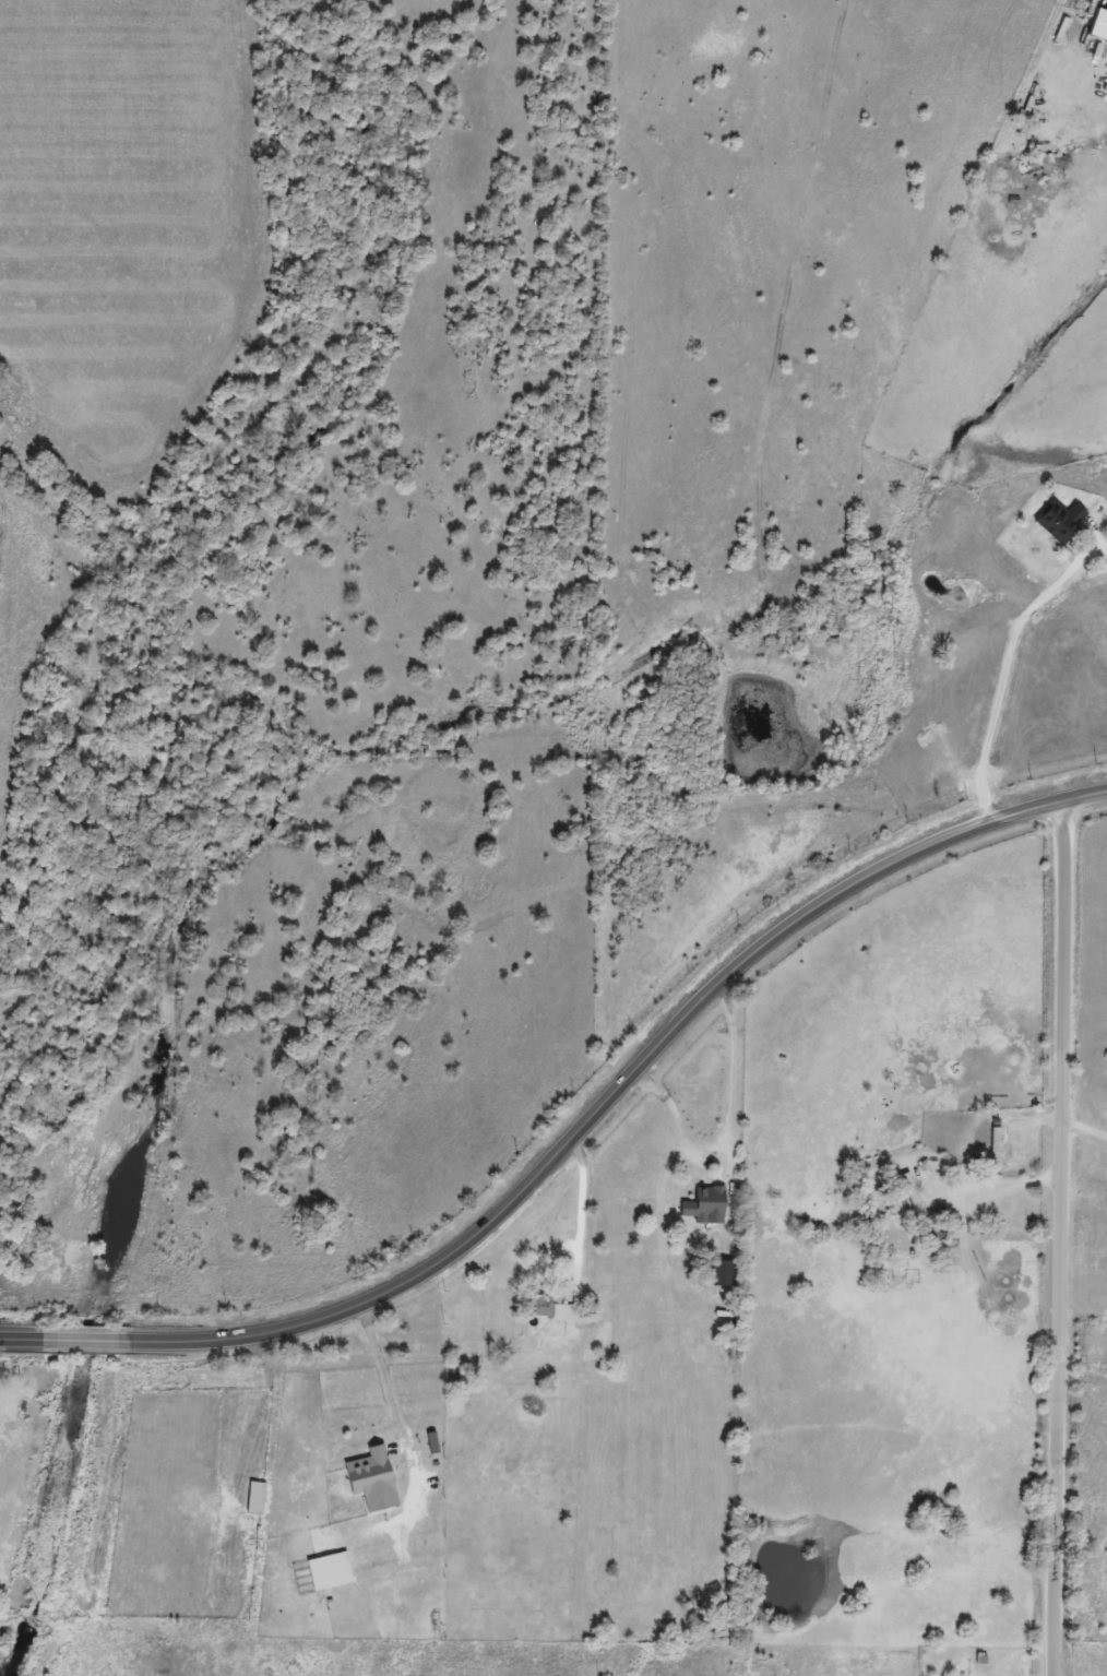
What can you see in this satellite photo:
road: (1023, 75)
building: (1046, 167)
building: (1061, 519)
road: (1003, 681)
road: (1087, 1125)
road: (723, 1130)
road: (578, 1132)
building: (996, 1144)
building: (914, 1193)
building: (709, 1204)
road: (580, 1213)
road: (1067, 1237)
building: (724, 1272)
building: (901, 1282)
building: (551, 1307)
road: (400, 1419)
building: (373, 1473)
building: (257, 1497)
building: (331, 1570)

